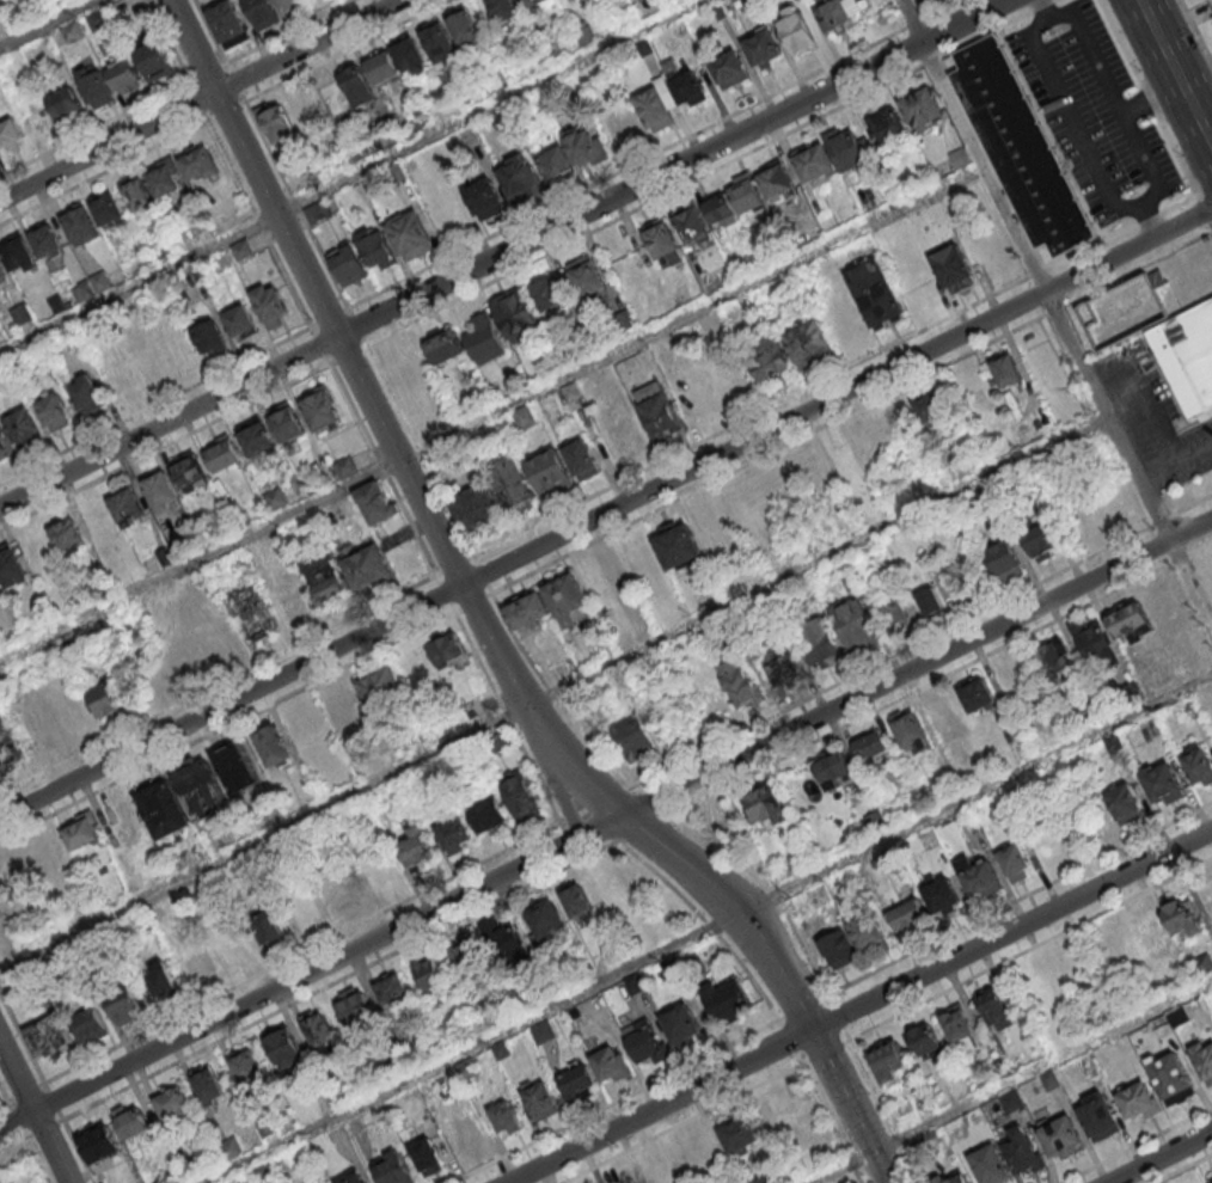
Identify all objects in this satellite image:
building: (533, 2)
parking lot: (1210, 2)
building: (289, 5)
building: (503, 8)
building: (262, 12)
building: (838, 13)
road: (1185, 18)
building: (98, 19)
road: (48, 24)
building: (227, 24)
building: (465, 27)
building: (72, 31)
road: (210, 31)
road: (289, 31)
road: (1195, 31)
building: (796, 32)
building: (439, 39)
road: (169, 42)
building: (761, 47)
road: (348, 51)
building: (410, 55)
building: (153, 60)
building: (382, 67)
building: (729, 68)
road: (1176, 71)
road: (208, 73)
building: (123, 74)
road: (235, 82)
building: (94, 85)
building: (357, 85)
building: (690, 90)
road: (1150, 98)
building: (329, 99)
building: (63, 100)
road: (201, 102)
road: (200, 103)
building: (655, 108)
building: (923, 108)
road: (227, 111)
building: (276, 122)
building: (623, 124)
building: (886, 125)
building: (10, 134)
building: (1020, 145)
building: (573, 153)
road: (655, 154)
building: (832, 154)
building: (198, 164)
road: (712, 172)
road: (104, 173)
building: (518, 176)
road: (351, 177)
building: (164, 178)
building: (776, 179)
building: (137, 192)
building: (484, 197)
building: (735, 200)
road: (298, 206)
building: (108, 209)
road: (1205, 209)
building: (318, 210)
building: (80, 223)
road: (259, 223)
building: (692, 225)
building: (410, 234)
building: (47, 241)
building: (662, 243)
building: (377, 247)
building: (241, 249)
road: (503, 253)
building: (18, 255)
building: (348, 263)
building: (953, 269)
building: (1, 272)
building: (91, 286)
building: (876, 293)
building: (547, 294)
building: (270, 302)
building: (514, 312)
building: (20, 313)
road: (1057, 313)
road: (330, 318)
building: (239, 321)
road: (357, 326)
building: (209, 336)
building: (484, 339)
building: (809, 343)
building: (445, 344)
road: (320, 345)
road: (350, 354)
building: (767, 355)
building: (1187, 357)
building: (1041, 361)
building: (1006, 369)
road: (835, 375)
building: (86, 393)
road: (1139, 400)
road: (155, 405)
building: (657, 409)
building: (54, 410)
building: (322, 410)
building: (926, 410)
road: (851, 412)
road: (490, 413)
parking lot: (1153, 416)
building: (524, 417)
road: (380, 418)
building: (287, 422)
building: (22, 427)
building: (256, 436)
road: (166, 447)
building: (1, 449)
road: (421, 450)
road: (1193, 450)
building: (222, 452)
building: (581, 458)
building: (843, 464)
building: (345, 466)
road: (385, 468)
building: (189, 470)
building: (550, 471)
road: (1156, 471)
building: (509, 482)
building: (160, 491)
building: (275, 497)
building: (377, 501)
building: (124, 503)
building: (475, 507)
road: (606, 513)
building: (67, 532)
building: (1041, 541)
building: (677, 544)
building: (36, 548)
building: (1004, 560)
road: (455, 565)
building: (11, 566)
building: (345, 572)
road: (482, 575)
building: (604, 582)
road: (446, 593)
building: (288, 596)
road: (483, 599)
building: (567, 599)
building: (930, 601)
building: (525, 608)
building: (893, 611)
building: (250, 613)
building: (1130, 619)
building: (855, 625)
building: (1091, 638)
road: (923, 642)
building: (819, 643)
building: (447, 649)
building: (188, 652)
building: (1053, 656)
road: (480, 663)
building: (782, 668)
road: (941, 678)
building: (740, 682)
building: (380, 684)
road: (219, 685)
road: (552, 693)
building: (977, 693)
road: (553, 697)
building: (104, 699)
building: (945, 715)
road: (227, 725)
building: (910, 730)
building: (635, 741)
building: (273, 746)
building: (873, 747)
building: (1196, 764)
building: (237, 767)
building: (833, 768)
road: (533, 770)
building: (1162, 783)
road: (558, 785)
building: (519, 795)
building: (180, 796)
road: (651, 801)
building: (1125, 802)
building: (766, 804)
building: (489, 816)
road: (606, 823)
road: (645, 828)
building: (81, 830)
building: (455, 834)
road: (573, 841)
building: (416, 844)
building: (1014, 860)
building: (382, 871)
building: (979, 876)
building: (611, 884)
building: (1207, 889)
building: (941, 893)
road: (1021, 900)
building: (576, 901)
building: (305, 909)
building: (907, 914)
building: (1182, 914)
building: (545, 919)
road: (706, 924)
building: (268, 926)
road: (708, 931)
building: (867, 932)
building: (506, 942)
building: (1150, 942)
building: (232, 943)
building: (837, 946)
road: (302, 954)
building: (469, 956)
building: (694, 963)
building: (1202, 963)
building: (672, 964)
building: (200, 967)
building: (1067, 968)
building: (430, 971)
road: (784, 976)
building: (160, 977)
building: (633, 983)
road: (959, 985)
building: (392, 988)
building: (728, 999)
building: (124, 1005)
building: (355, 1005)
road: (859, 1006)
road: (804, 1009)
building: (994, 1009)
road: (277, 1011)
building: (1176, 1016)
road: (839, 1018)
building: (88, 1024)
building: (681, 1025)
building: (959, 1025)
building: (319, 1030)
building: (541, 1031)
building: (45, 1037)
building: (643, 1041)
building: (928, 1041)
road: (790, 1042)
building: (283, 1047)
building: (500, 1049)
road: (825, 1052)
building: (887, 1056)
building: (1204, 1059)
building: (611, 1064)
building: (247, 1066)
building: (469, 1068)
building: (1170, 1077)
building: (1049, 1078)
building: (576, 1079)
road: (1011, 1079)
building: (208, 1084)
road: (741, 1092)
building: (539, 1099)
building: (1011, 1101)
building: (1137, 1101)
road: (617, 1102)
building: (172, 1104)
building: (788, 1112)
road: (31, 1115)
building: (1097, 1115)
building: (504, 1116)
building: (131, 1122)
building: (739, 1134)
building: (1060, 1135)
building: (98, 1142)
road: (1136, 1145)
building: (231, 1147)
building: (1021, 1151)
building: (699, 1152)
building: (426, 1154)
road: (1161, 1157)
building: (990, 1163)
building: (393, 1167)
building: (659, 1169)
road: (1185, 1169)
building: (264, 1171)
building: (353, 1176)
building: (628, 1178)
building: (939, 1179)
building: (959, 1179)
building: (1211, 1179)

